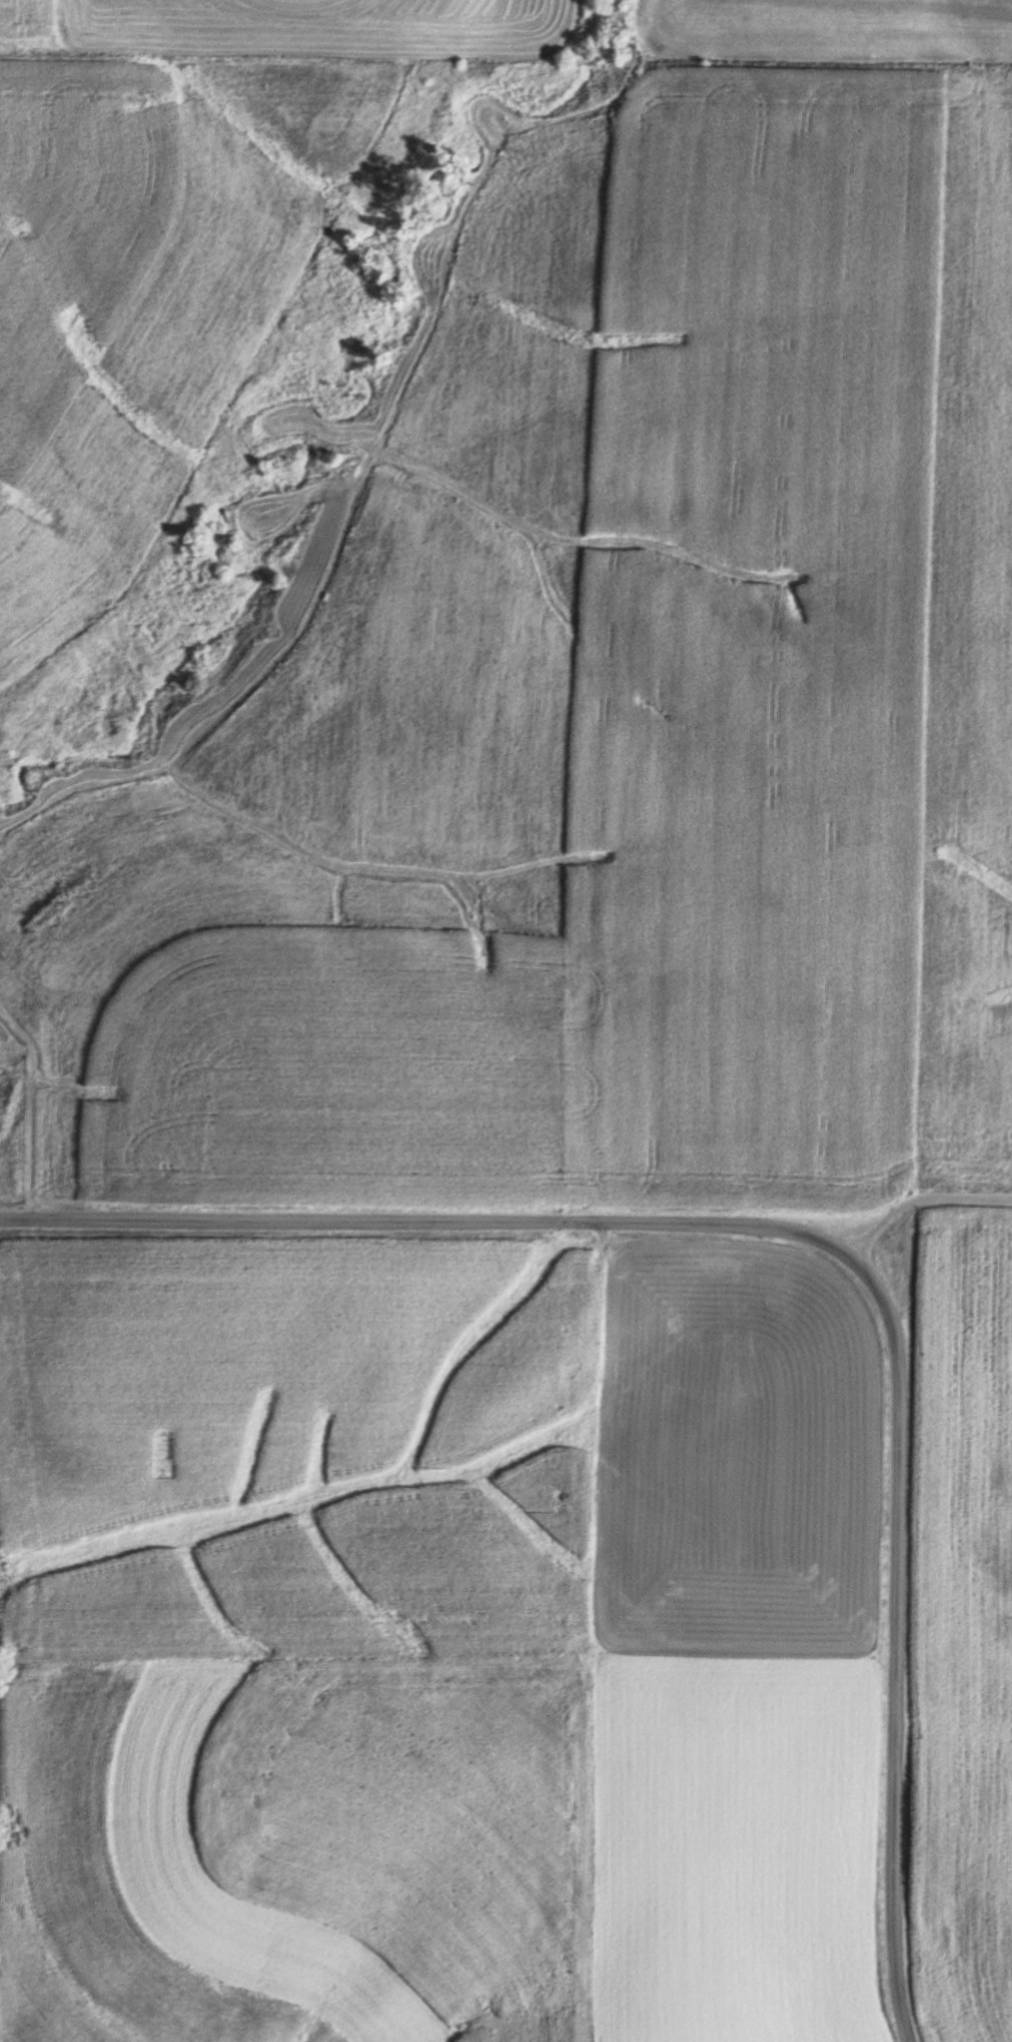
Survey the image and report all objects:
road: (918, 1198)
road: (826, 1245)

